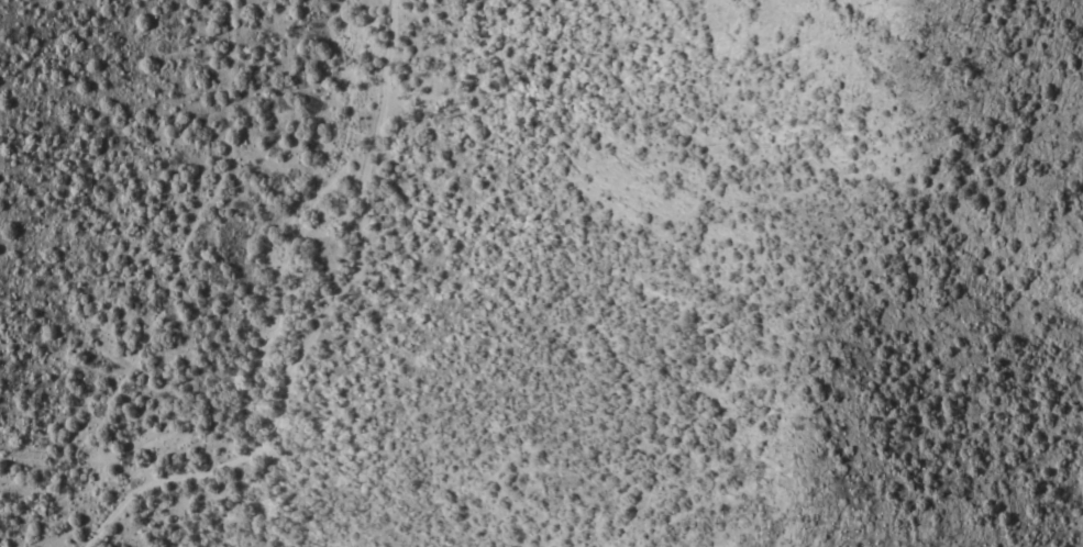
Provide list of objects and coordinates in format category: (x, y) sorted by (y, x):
road: (308, 324)

